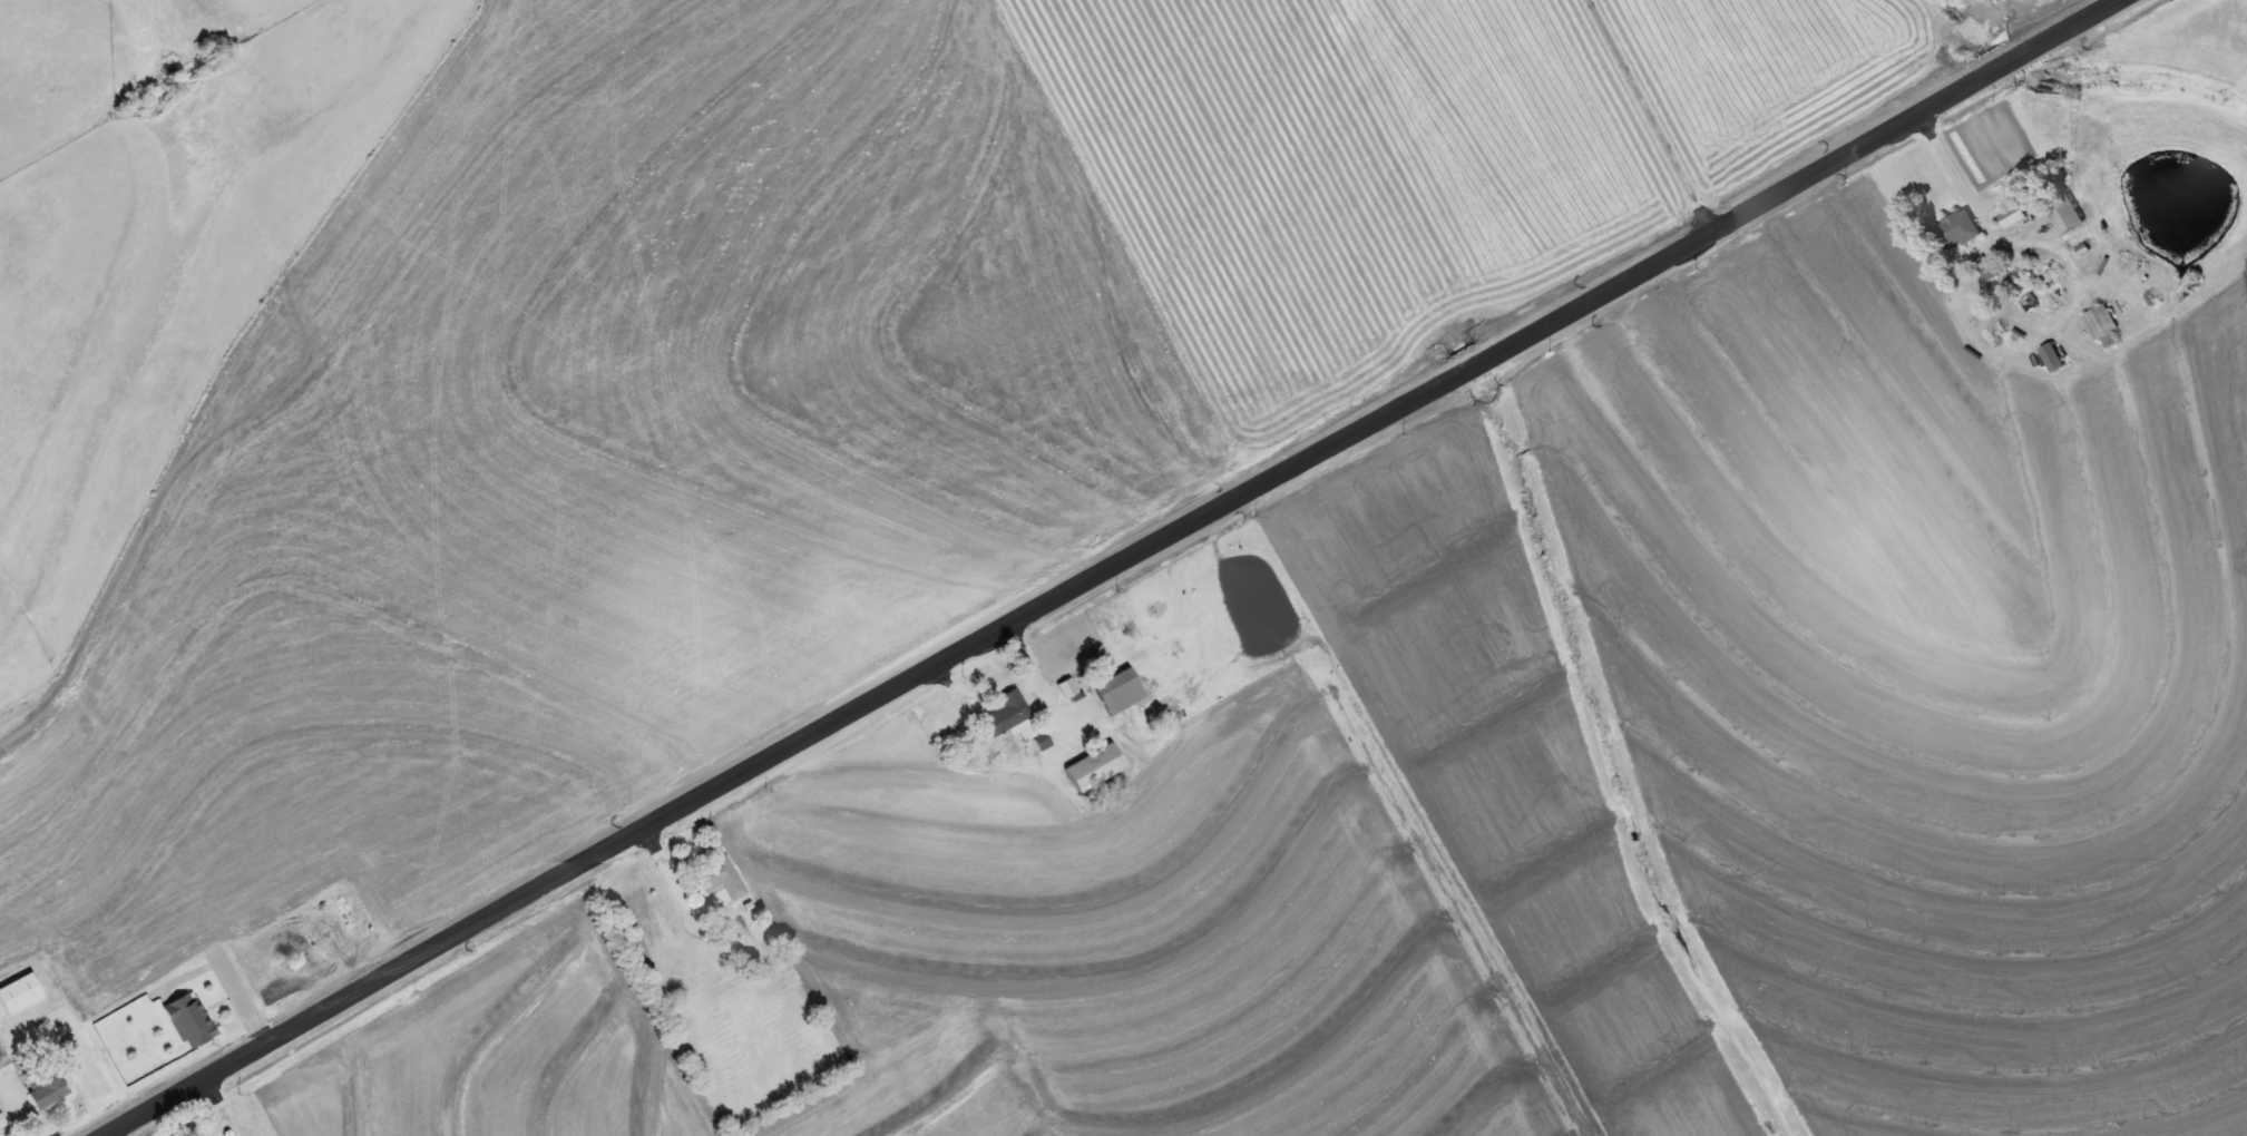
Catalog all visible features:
crop: (2029, 4)
crop: (1778, 72)
road: (1652, 111)
building: (2064, 213)
building: (2014, 215)
building: (1960, 227)
building: (2101, 322)
building: (2052, 356)
crop: (670, 384)
road: (1106, 567)
crop: (1931, 680)
building: (1118, 689)
building: (1008, 709)
crop: (1504, 762)
building: (1093, 765)
building: (721, 875)
crop: (1131, 946)
building: (18, 991)
road: (242, 997)
building: (188, 1018)
crop: (514, 1049)
building: (4, 1065)
building: (48, 1086)

